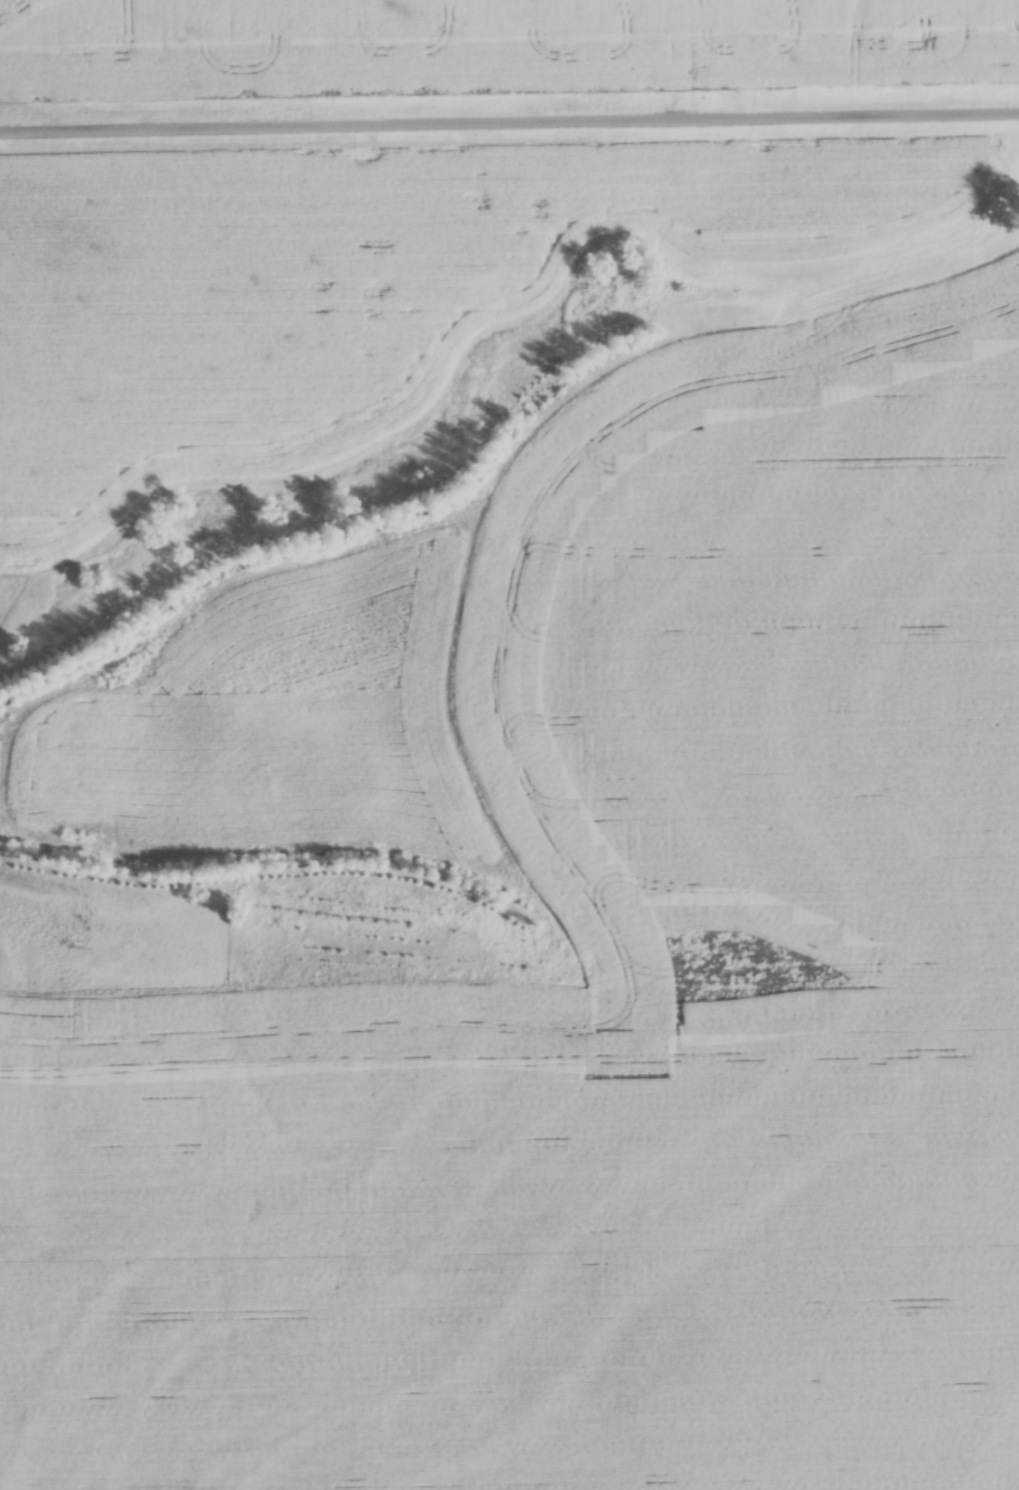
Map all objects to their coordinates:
road: (509, 118)

